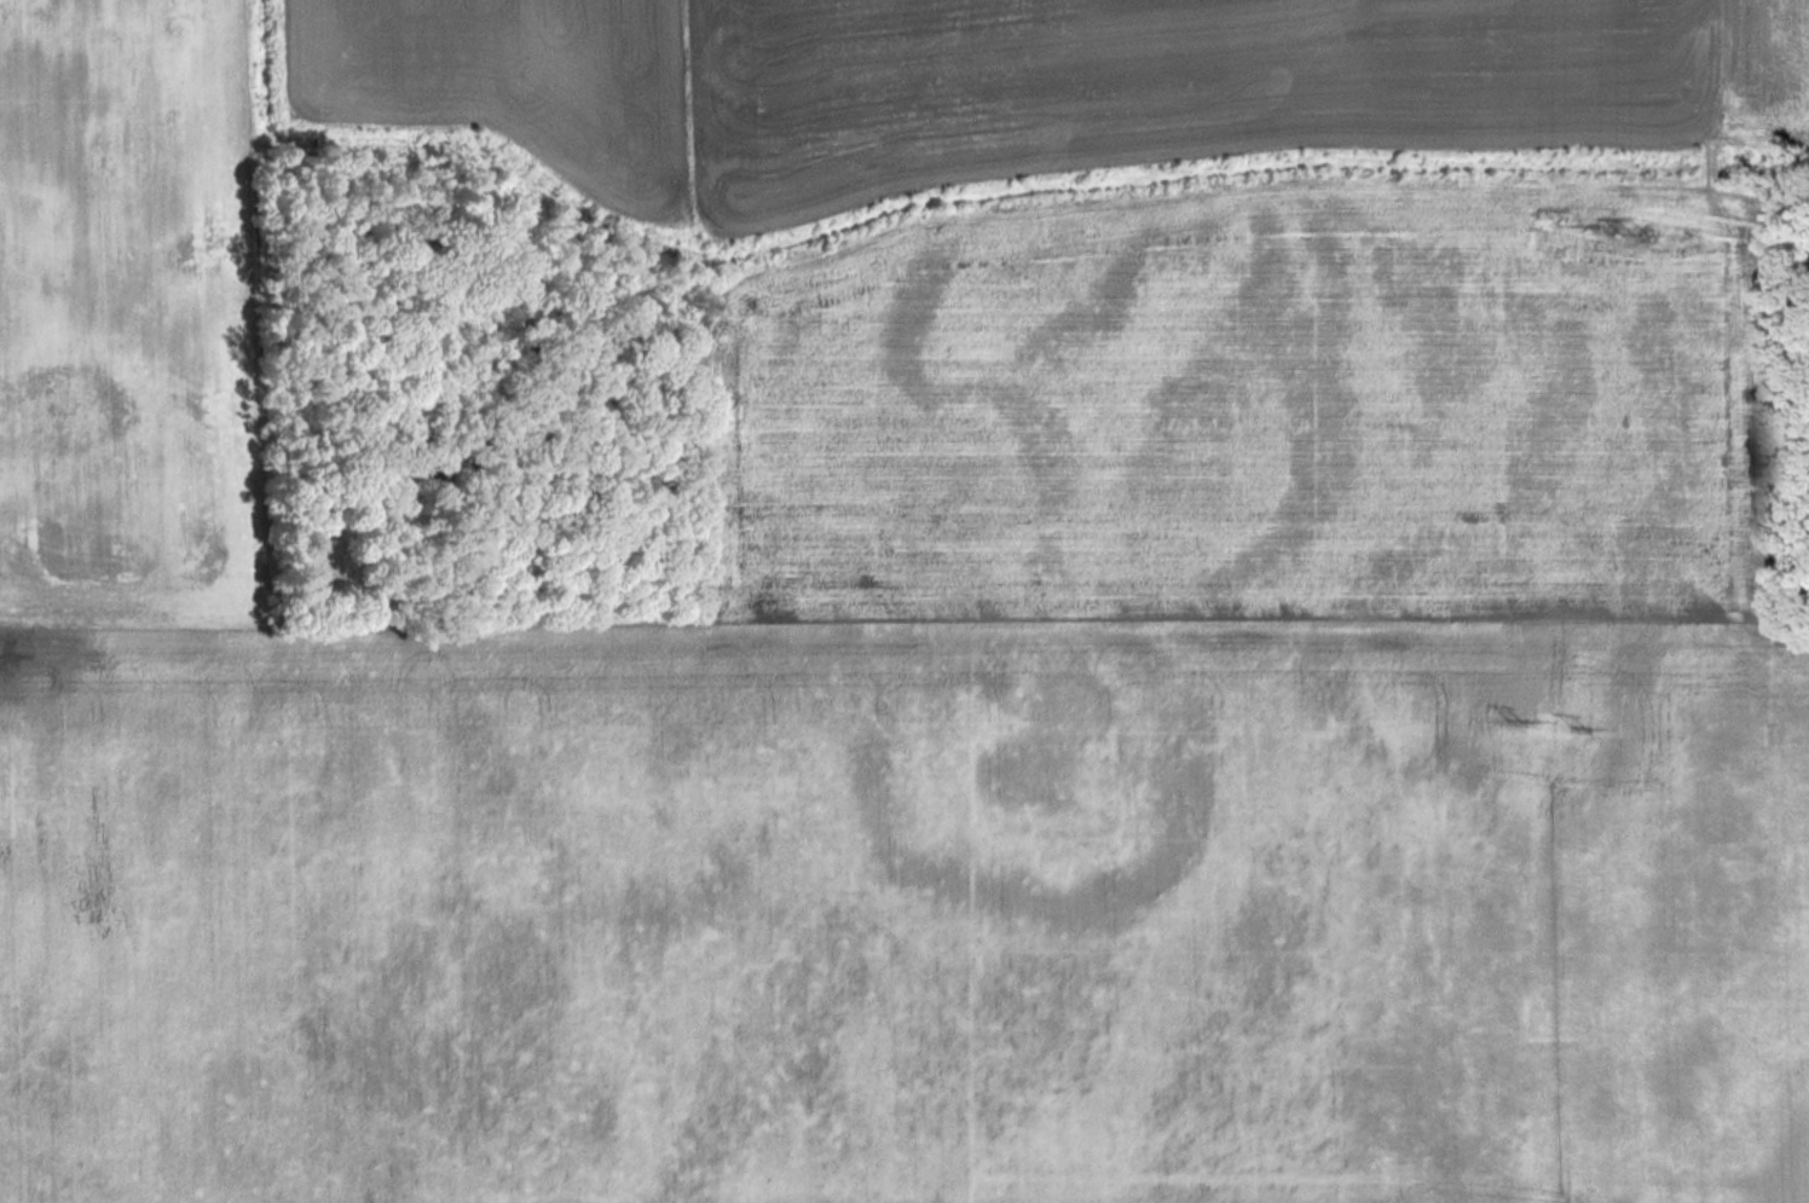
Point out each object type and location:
power tower: (1566, 222)
power tower: (1632, 227)
power tower: (1508, 715)
power tower: (1576, 722)

